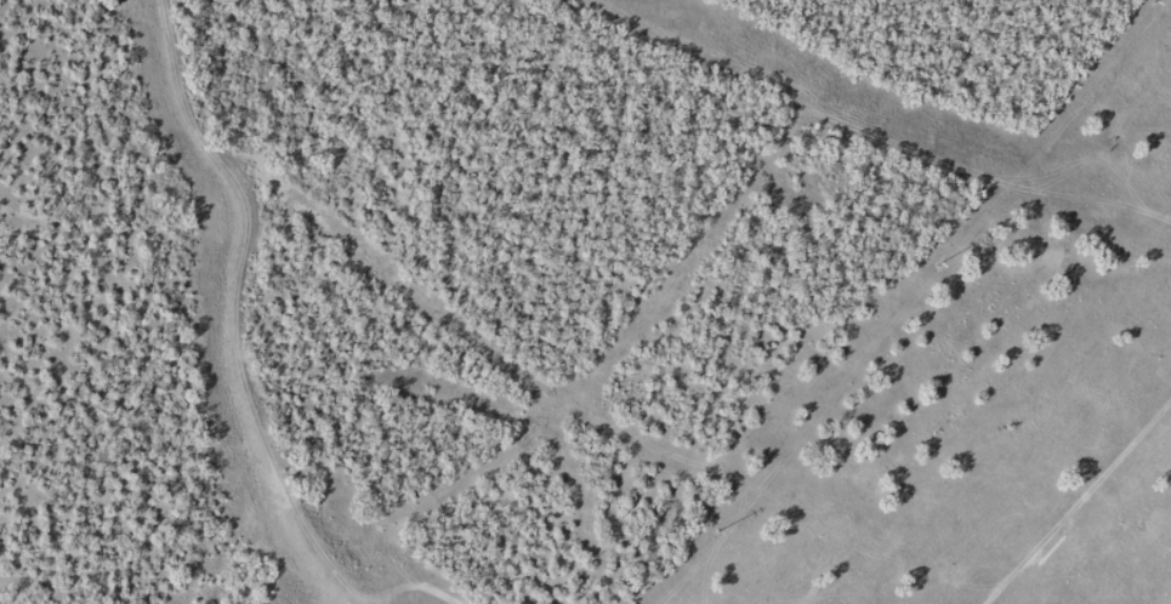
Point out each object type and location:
power tower: (1160, 2)
power tower: (943, 261)
power tower: (717, 532)

